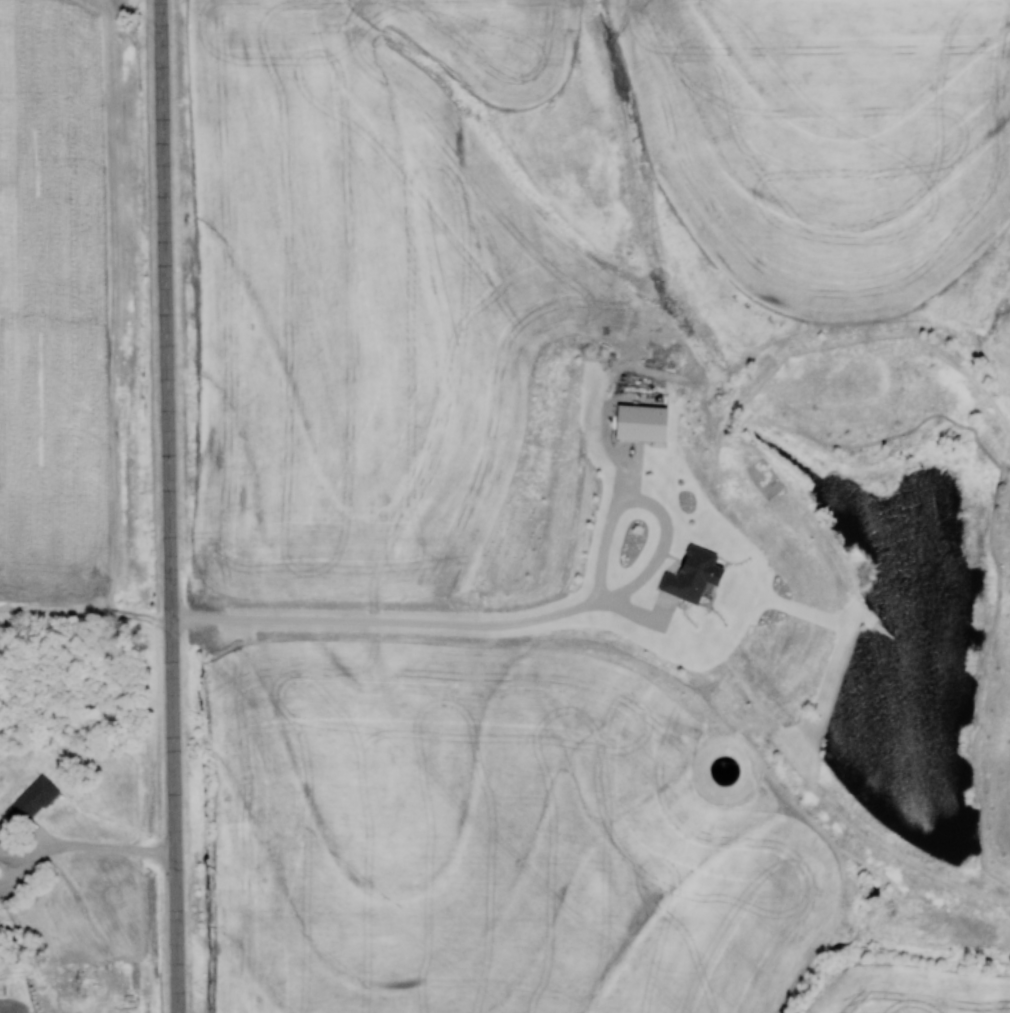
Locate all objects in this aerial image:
building: (640, 423)
road: (169, 506)
building: (697, 574)
building: (29, 801)

